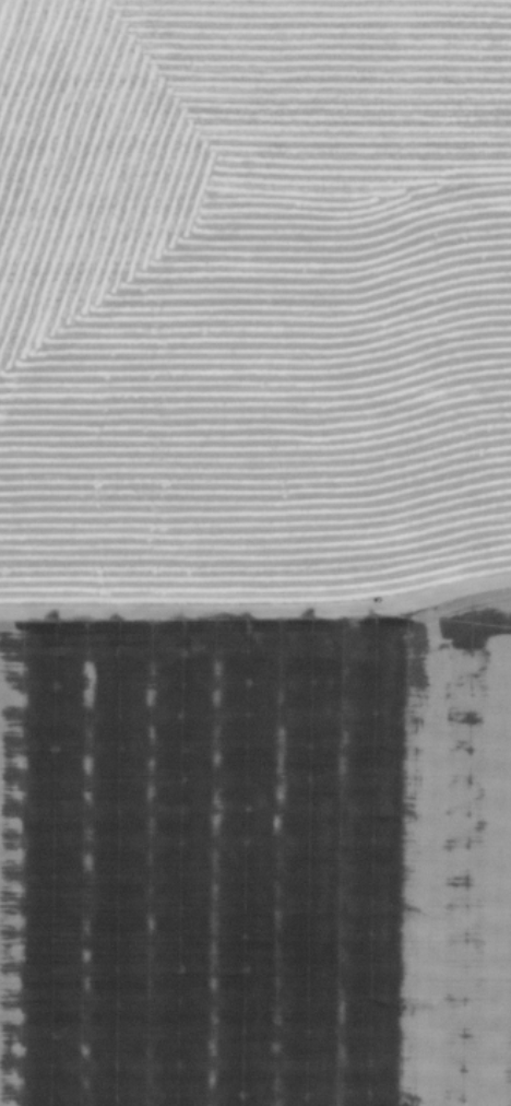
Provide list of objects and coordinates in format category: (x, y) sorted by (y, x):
crop: (255, 553)

